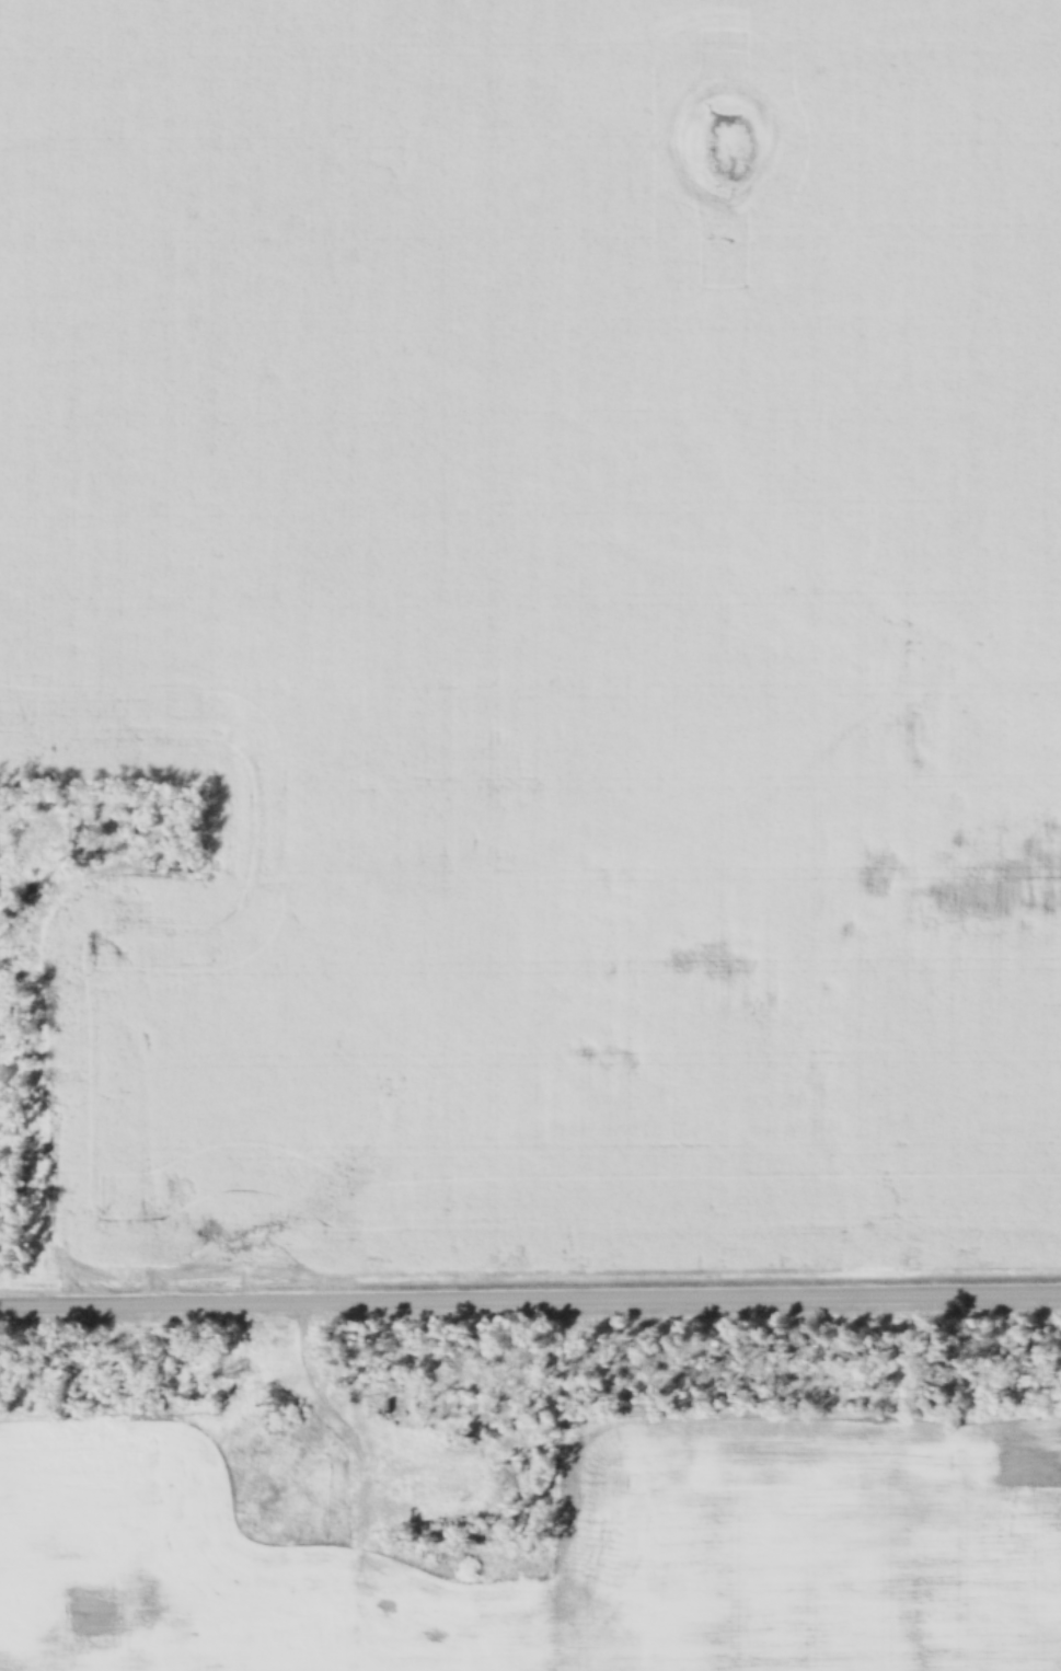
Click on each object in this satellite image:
road: (530, 1297)
building: (458, 1653)

